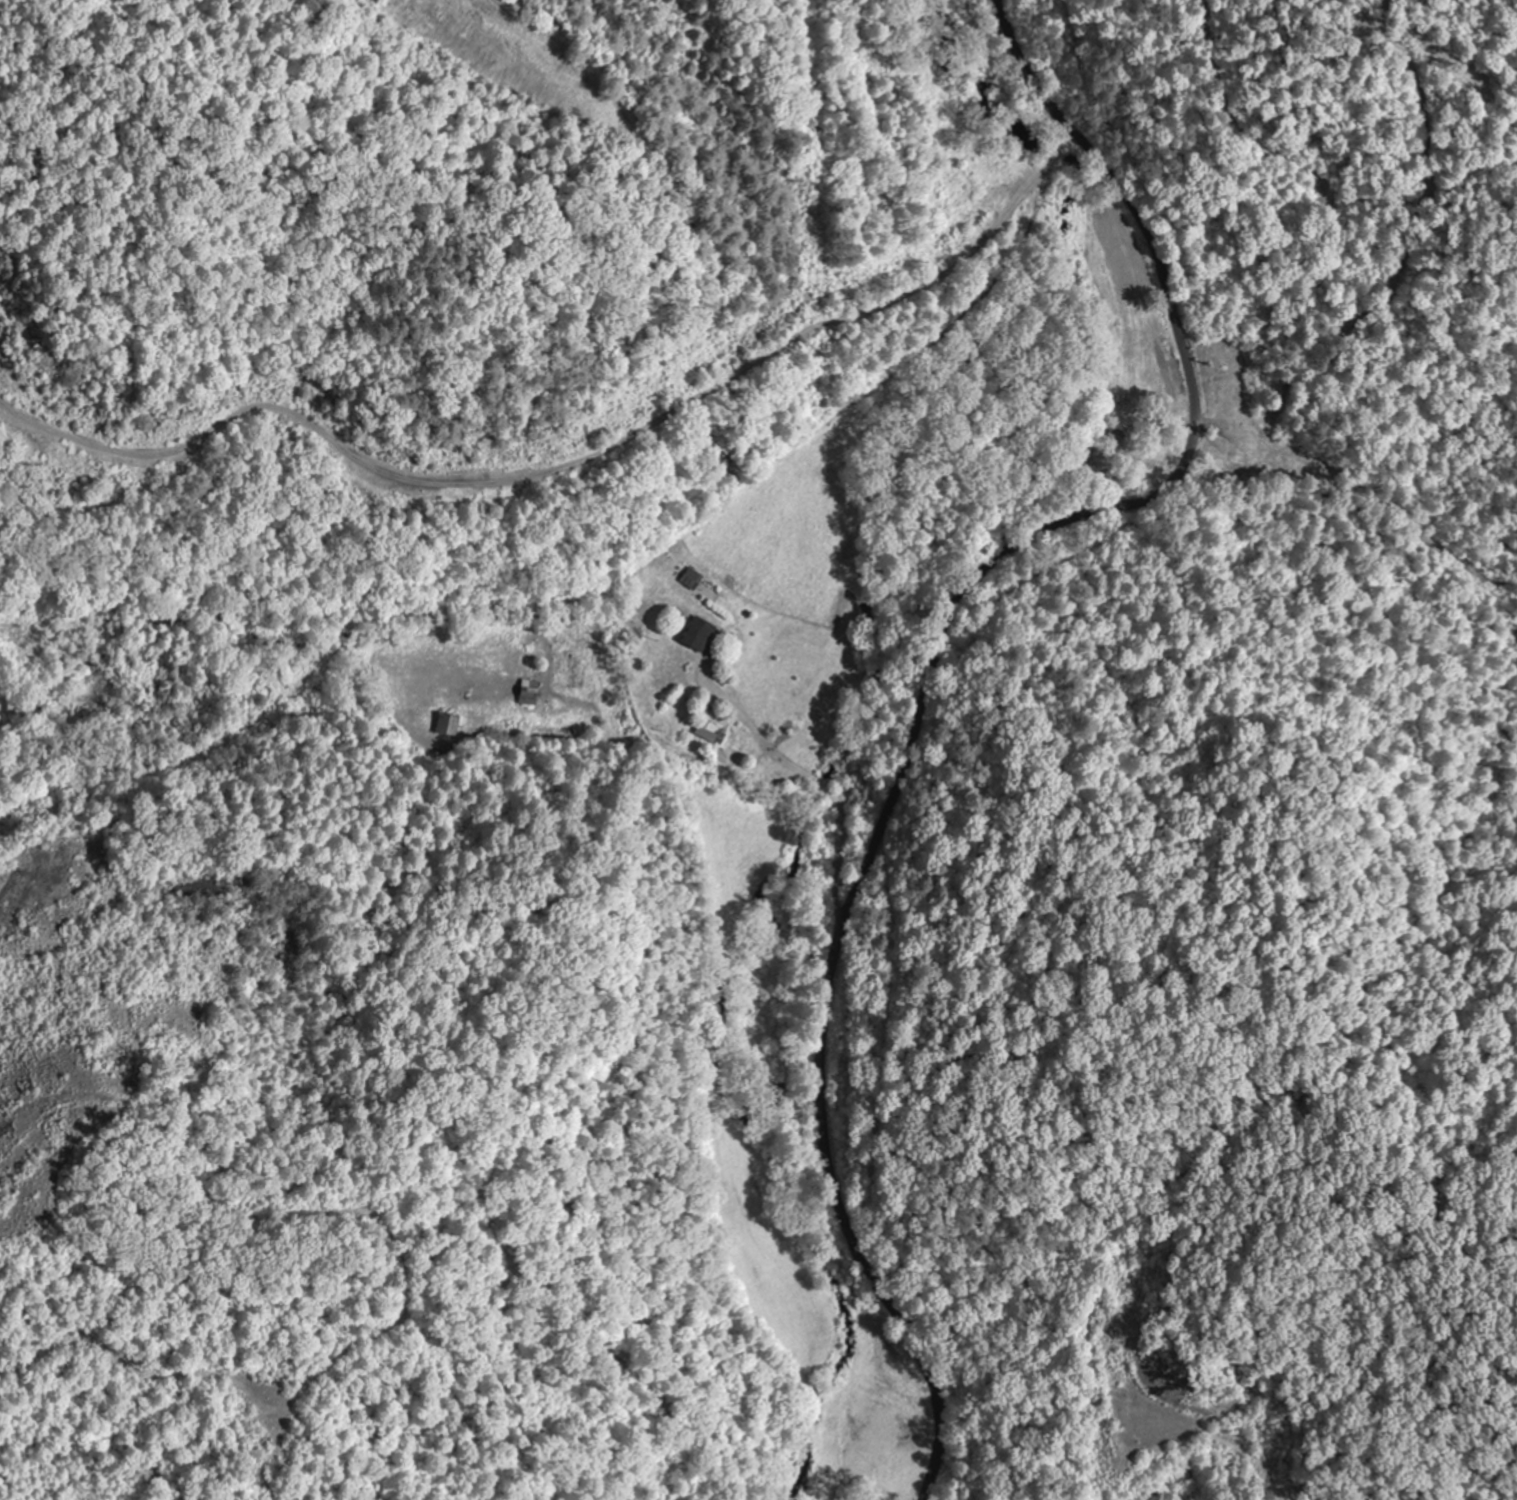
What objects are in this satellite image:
building: (692, 579)
building: (698, 634)
road: (929, 674)
building: (528, 691)
building: (446, 724)
building: (707, 731)

